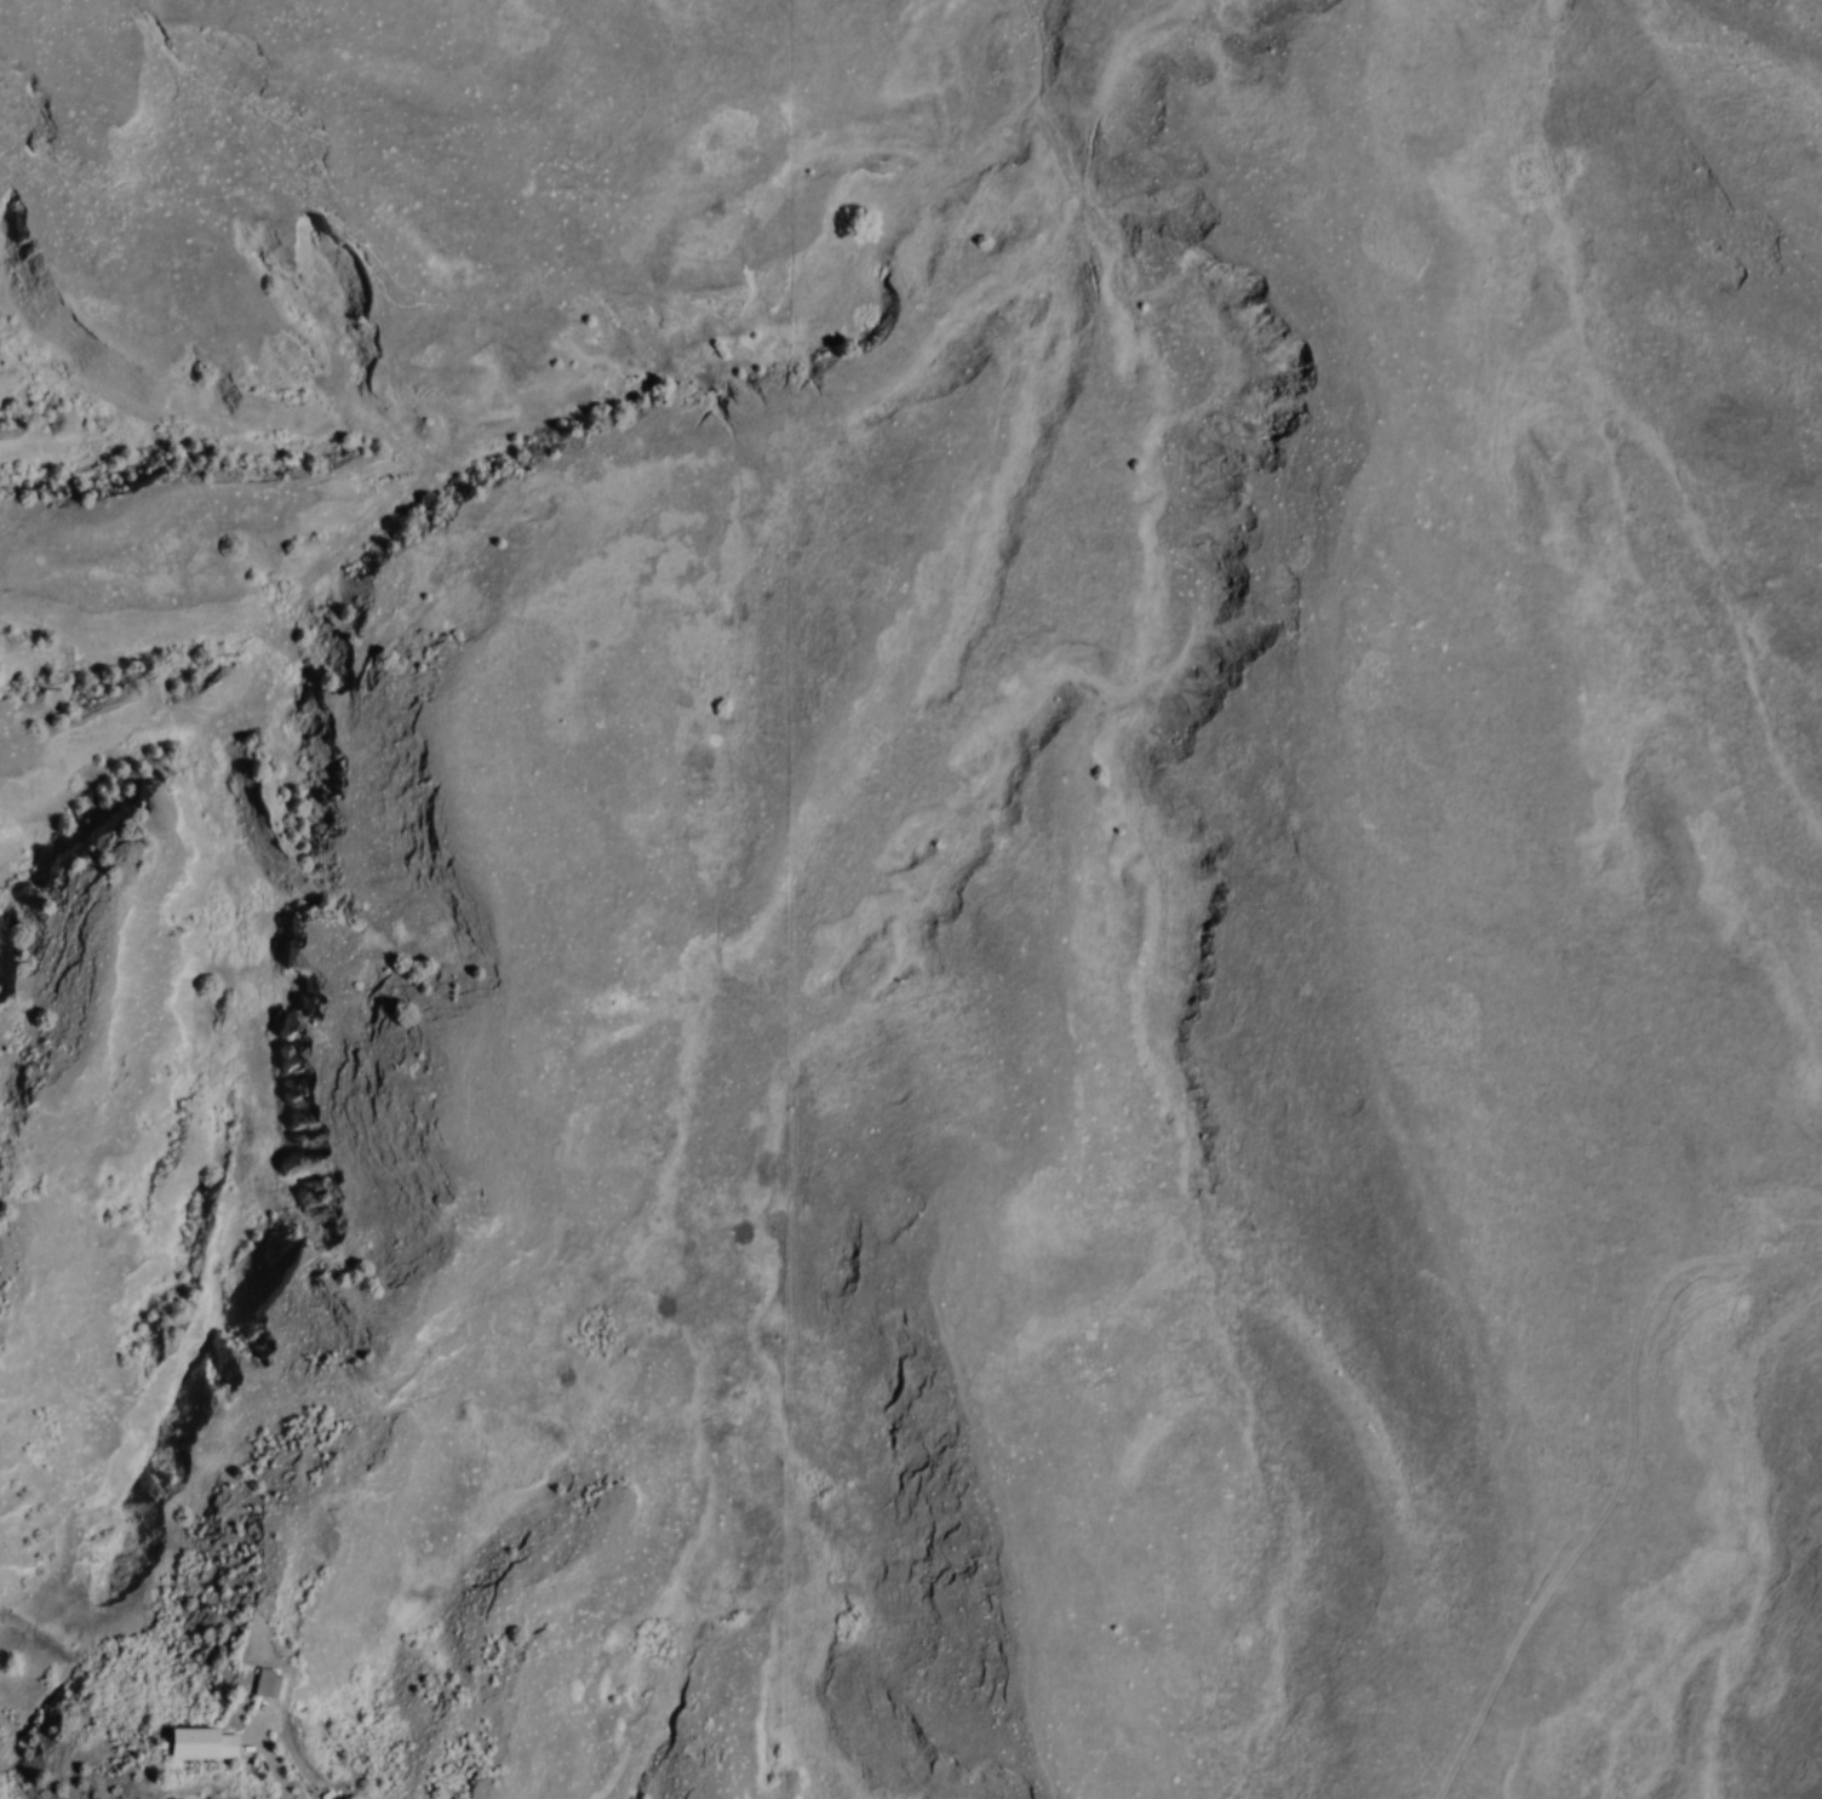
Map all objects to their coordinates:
building: (285, 1686)
building: (206, 1743)
road: (280, 1772)
building: (197, 1798)

